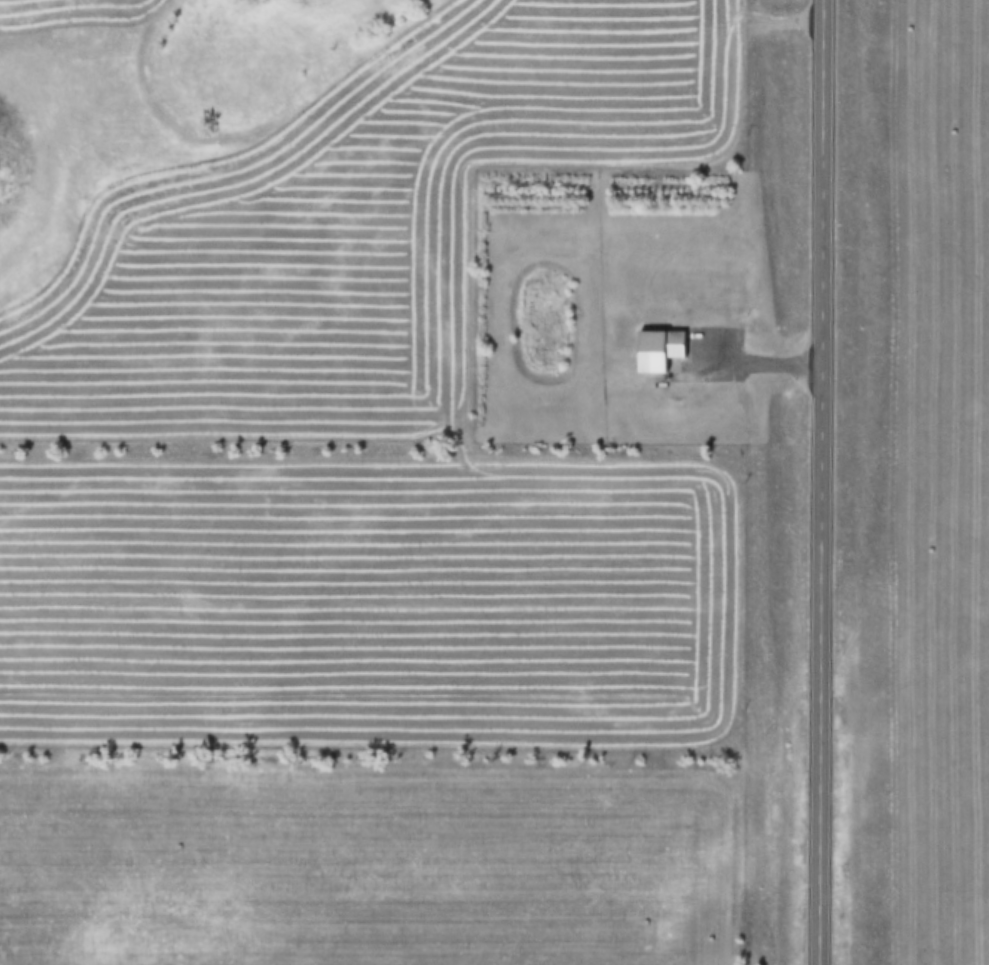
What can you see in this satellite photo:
building: (661, 350)
road: (755, 367)
road: (823, 482)

